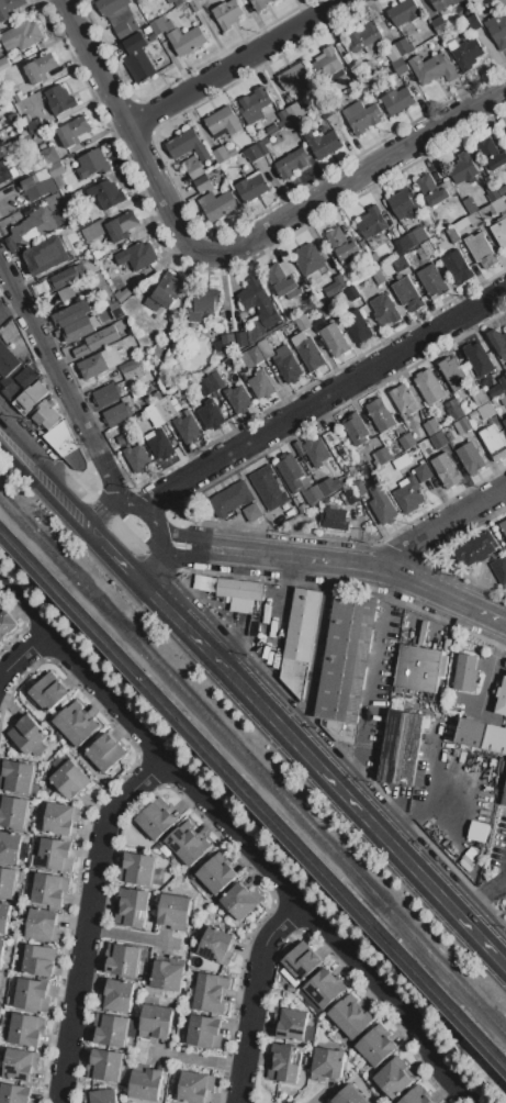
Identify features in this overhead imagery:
building: (149, 0)
building: (178, 3)
building: (259, 3)
building: (442, 3)
building: (194, 5)
building: (9, 8)
building: (114, 10)
building: (403, 11)
building: (226, 14)
building: (473, 22)
building: (439, 24)
building: (125, 26)
building: (158, 26)
building: (497, 30)
building: (22, 35)
building: (363, 36)
building: (188, 40)
building: (403, 45)
building: (392, 52)
building: (464, 52)
building: (136, 56)
building: (3, 63)
road: (235, 63)
building: (328, 64)
building: (370, 65)
building: (398, 66)
building: (41, 67)
building: (431, 68)
building: (357, 73)
building: (293, 76)
building: (18, 97)
building: (59, 99)
building: (397, 100)
building: (256, 105)
building: (294, 111)
building: (360, 116)
building: (283, 118)
building: (223, 122)
building: (34, 125)
building: (0, 126)
building: (271, 129)
building: (72, 131)
road: (132, 133)
building: (319, 142)
building: (187, 144)
building: (262, 145)
building: (7, 148)
building: (251, 153)
building: (492, 153)
building: (224, 154)
building: (50, 155)
building: (292, 161)
building: (93, 163)
building: (192, 167)
building: (57, 168)
building: (463, 168)
building: (5, 171)
road: (359, 175)
building: (202, 183)
building: (38, 187)
building: (251, 187)
building: (431, 190)
building: (108, 194)
building: (402, 203)
building: (470, 204)
building: (221, 205)
building: (486, 211)
building: (64, 218)
building: (474, 218)
building: (373, 221)
building: (460, 223)
building: (34, 225)
building: (122, 225)
building: (499, 232)
building: (451, 233)
building: (419, 234)
building: (409, 239)
building: (341, 243)
building: (401, 246)
building: (477, 246)
building: (427, 248)
building: (46, 255)
building: (137, 255)
building: (310, 263)
building: (400, 263)
building: (457, 268)
building: (379, 277)
building: (64, 278)
building: (282, 279)
building: (432, 280)
building: (335, 286)
building: (162, 292)
building: (352, 292)
building: (66, 293)
building: (407, 293)
building: (260, 302)
building: (204, 303)
road: (9, 307)
building: (327, 308)
building: (385, 310)
building: (71, 313)
building: (302, 323)
building: (358, 325)
building: (78, 330)
building: (333, 336)
building: (241, 338)
building: (97, 341)
building: (228, 342)
building: (497, 342)
building: (265, 348)
building: (310, 352)
building: (251, 357)
building: (477, 358)
building: (8, 360)
building: (99, 363)
building: (286, 364)
building: (134, 367)
building: (454, 374)
road: (59, 379)
building: (216, 379)
building: (19, 380)
building: (503, 381)
building: (260, 382)
building: (428, 386)
building: (205, 387)
building: (495, 391)
building: (106, 395)
road: (325, 395)
building: (480, 397)
building: (30, 398)
building: (238, 398)
building: (404, 399)
building: (488, 409)
building: (159, 411)
building: (454, 412)
building: (46, 414)
building: (115, 414)
building: (211, 414)
building: (381, 414)
building: (473, 414)
building: (505, 422)
building: (462, 425)
building: (431, 426)
building: (187, 428)
building: (357, 428)
building: (124, 437)
building: (493, 439)
building: (406, 441)
building: (439, 441)
building: (160, 444)
building: (67, 445)
road: (22, 448)
building: (315, 452)
building: (382, 456)
building: (470, 457)
building: (137, 458)
building: (402, 461)
building: (446, 470)
building: (423, 471)
building: (292, 473)
building: (329, 486)
building: (268, 488)
building: (408, 493)
building: (312, 494)
building: (351, 495)
road: (130, 499)
building: (229, 499)
road: (72, 502)
building: (381, 504)
road: (99, 505)
building: (288, 511)
building: (252, 512)
building: (335, 519)
road: (160, 521)
road: (443, 524)
building: (503, 526)
road: (110, 539)
road: (192, 546)
building: (476, 548)
road: (132, 562)
road: (160, 562)
road: (368, 566)
building: (499, 569)
building: (238, 589)
building: (0, 603)
road: (25, 606)
building: (5, 623)
road: (189, 625)
building: (300, 639)
road: (316, 650)
building: (346, 655)
road: (25, 658)
road: (373, 668)
building: (418, 668)
building: (466, 671)
building: (47, 692)
building: (502, 698)
building: (75, 725)
building: (341, 732)
building: (472, 732)
building: (26, 734)
building: (495, 738)
building: (401, 747)
building: (105, 753)
railway: (252, 762)
building: (16, 776)
building: (69, 779)
road: (353, 782)
railway: (252, 788)
building: (504, 795)
railway: (252, 802)
road: (418, 810)
building: (13, 812)
road: (370, 816)
building: (60, 817)
building: (156, 818)
building: (477, 831)
building: (187, 844)
building: (10, 847)
building: (55, 855)
road: (267, 864)
building: (137, 868)
building: (216, 872)
building: (8, 881)
building: (49, 889)
road: (482, 892)
building: (240, 900)
building: (131, 906)
building: (173, 911)
building: (3, 916)
road: (92, 918)
building: (43, 924)
road: (131, 935)
building: (215, 946)
building: (1, 948)
building: (122, 959)
building: (40, 960)
building: (301, 961)
building: (167, 974)
building: (323, 989)
building: (209, 992)
building: (32, 994)
building: (119, 994)
road: (259, 996)
building: (350, 1018)
building: (156, 1022)
building: (290, 1024)
building: (26, 1029)
building: (111, 1029)
building: (204, 1032)
building: (376, 1048)
building: (284, 1062)
building: (18, 1063)
building: (104, 1065)
building: (327, 1065)
building: (394, 1078)
building: (145, 1082)
building: (193, 1087)
building: (14, 1093)
building: (416, 1095)
building: (101, 1096)
building: (349, 1096)

